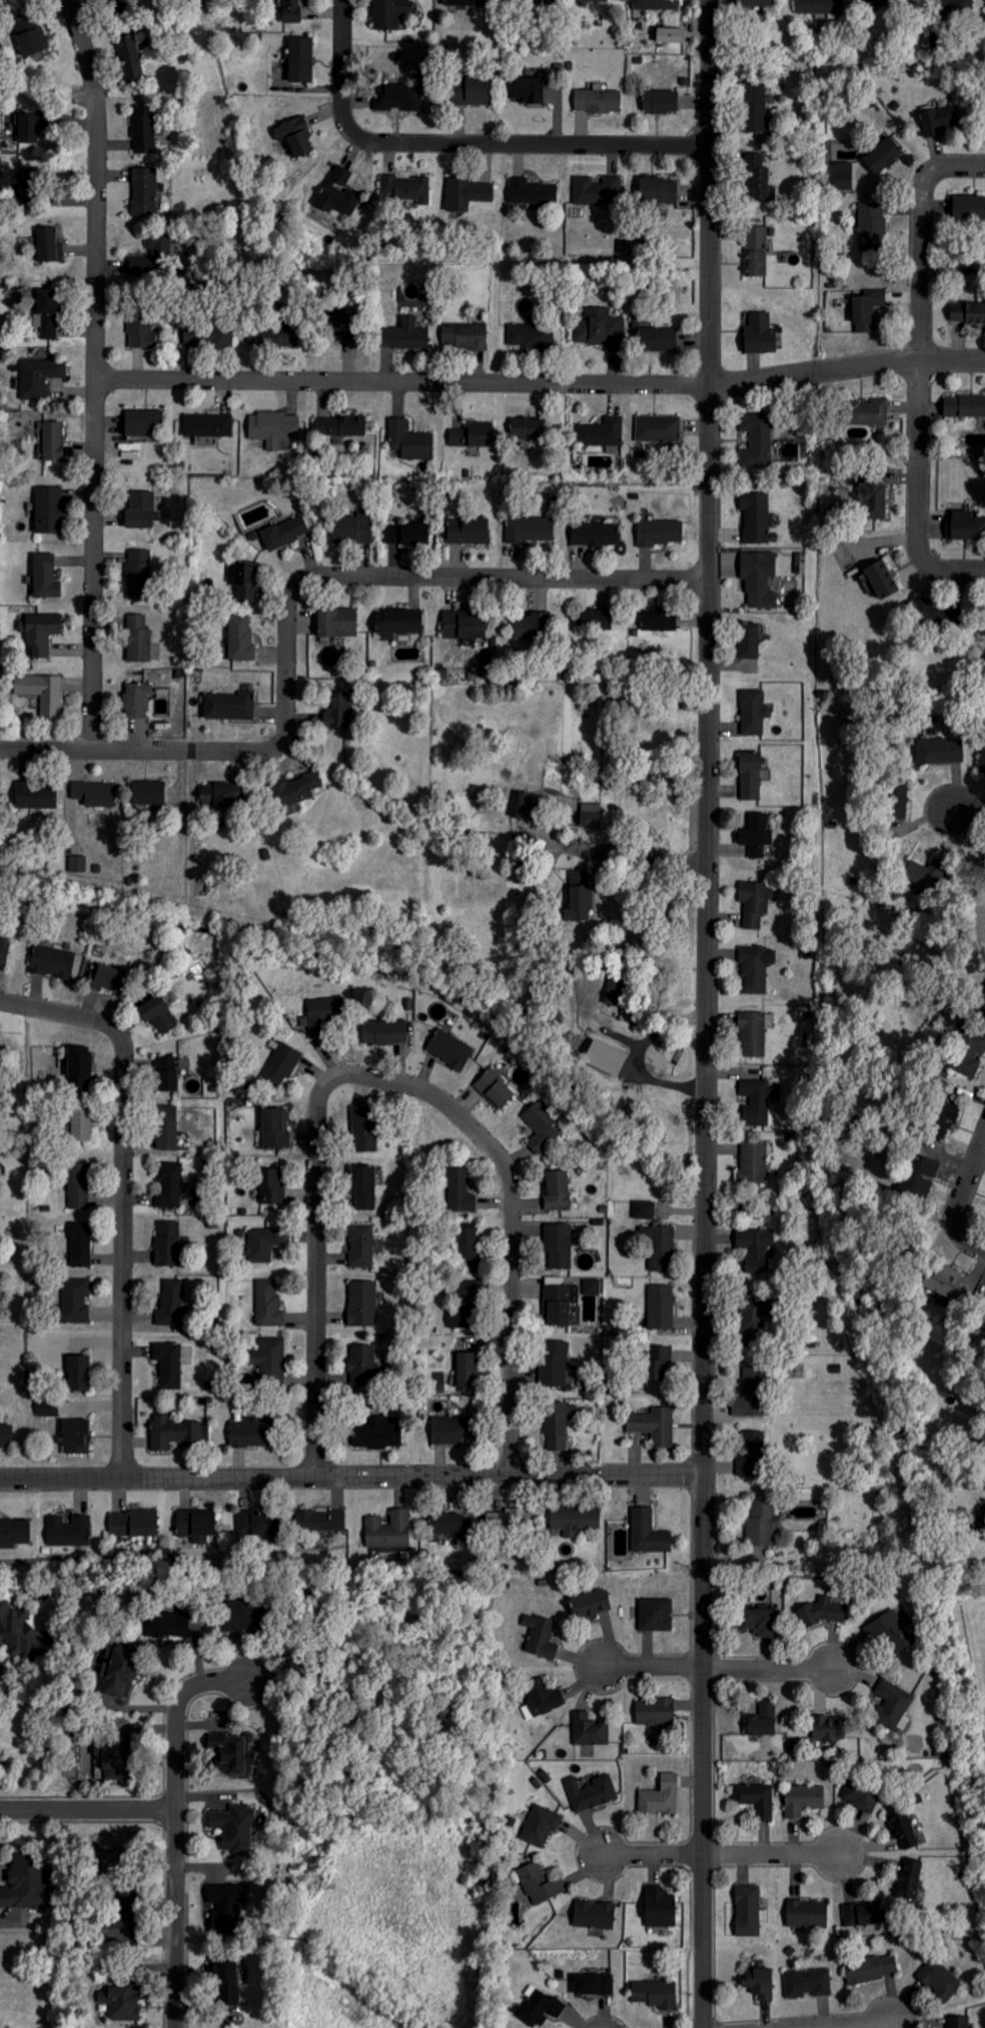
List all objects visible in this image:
building: (591, 0)
building: (870, 0)
building: (111, 1)
building: (457, 2)
building: (752, 3)
building: (656, 4)
building: (820, 7)
building: (292, 11)
building: (386, 14)
building: (31, 34)
building: (669, 34)
road: (82, 47)
building: (130, 57)
building: (301, 59)
road: (350, 70)
building: (524, 89)
building: (470, 90)
building: (397, 97)
building: (598, 100)
building: (659, 101)
building: (754, 107)
building: (939, 119)
building: (23, 127)
building: (143, 129)
building: (294, 135)
road: (530, 143)
building: (883, 153)
road: (952, 166)
building: (842, 175)
building: (756, 177)
building: (407, 188)
building: (603, 190)
building: (657, 190)
building: (531, 191)
building: (144, 192)
building: (338, 192)
building: (467, 193)
building: (968, 207)
building: (872, 224)
building: (48, 245)
building: (756, 250)
road: (921, 266)
building: (867, 309)
building: (47, 312)
building: (967, 312)
building: (335, 326)
building: (140, 331)
building: (758, 333)
building: (534, 334)
building: (219, 335)
building: (271, 335)
building: (404, 335)
building: (464, 336)
building: (656, 339)
building: (40, 376)
road: (542, 382)
building: (964, 406)
building: (865, 420)
road: (97, 422)
building: (142, 422)
building: (208, 424)
building: (339, 426)
building: (525, 427)
building: (273, 428)
building: (659, 428)
building: (602, 432)
building: (469, 436)
building: (410, 440)
building: (757, 440)
building: (52, 441)
road: (918, 455)
building: (873, 494)
building: (48, 510)
building: (139, 510)
building: (757, 517)
building: (965, 526)
building: (352, 527)
building: (530, 530)
building: (285, 532)
building: (469, 532)
building: (660, 532)
building: (407, 534)
building: (594, 534)
building: (801, 562)
building: (139, 566)
road: (947, 572)
building: (45, 576)
road: (513, 577)
building: (759, 577)
building: (880, 579)
building: (244, 581)
building: (941, 612)
building: (600, 619)
building: (659, 619)
building: (336, 622)
building: (399, 622)
building: (462, 625)
building: (529, 627)
building: (39, 632)
building: (241, 637)
building: (138, 638)
building: (748, 640)
building: (440, 673)
building: (43, 694)
building: (135, 699)
building: (229, 706)
building: (337, 711)
building: (753, 712)
building: (940, 749)
road: (233, 751)
building: (982, 760)
building: (750, 776)
building: (293, 789)
building: (93, 793)
building: (147, 793)
building: (35, 795)
building: (218, 797)
building: (896, 801)
building: (0, 805)
building: (522, 805)
road: (967, 810)
building: (756, 835)
road: (627, 848)
building: (79, 864)
building: (916, 874)
building: (579, 896)
building: (757, 901)
building: (4, 951)
building: (53, 961)
building: (756, 968)
building: (615, 991)
building: (983, 1002)
road: (57, 1011)
road: (707, 1013)
building: (157, 1014)
building: (322, 1016)
building: (384, 1032)
building: (753, 1035)
building: (449, 1049)
building: (969, 1053)
building: (281, 1064)
building: (78, 1068)
building: (167, 1074)
road: (410, 1085)
building: (494, 1088)
building: (757, 1101)
building: (939, 1120)
building: (81, 1124)
building: (541, 1127)
building: (167, 1128)
building: (275, 1128)
building: (363, 1128)
building: (755, 1162)
building: (920, 1178)
building: (171, 1185)
building: (79, 1186)
building: (363, 1187)
building: (270, 1188)
building: (461, 1191)
building: (557, 1191)
road: (961, 1202)
building: (644, 1210)
building: (80, 1244)
building: (169, 1244)
building: (264, 1245)
building: (467, 1245)
building: (559, 1245)
building: (362, 1246)
building: (662, 1249)
road: (122, 1250)
building: (756, 1250)
building: (940, 1280)
road: (317, 1283)
building: (592, 1287)
building: (76, 1300)
building: (270, 1303)
road: (510, 1303)
building: (559, 1303)
building: (173, 1304)
building: (362, 1304)
building: (661, 1308)
building: (751, 1316)
building: (984, 1318)
building: (272, 1362)
building: (656, 1362)
building: (554, 1364)
building: (170, 1365)
building: (363, 1366)
building: (467, 1370)
building: (78, 1374)
building: (751, 1394)
building: (49, 1409)
building: (559, 1425)
building: (654, 1426)
building: (446, 1431)
building: (176, 1433)
building: (377, 1433)
building: (250, 1434)
building: (5, 1436)
building: (75, 1437)
building: (750, 1455)
road: (351, 1475)
building: (324, 1520)
building: (508, 1520)
building: (574, 1520)
building: (980, 1523)
building: (195, 1524)
building: (450, 1524)
building: (763, 1524)
building: (136, 1525)
building: (246, 1527)
building: (391, 1530)
building: (69, 1531)
building: (15, 1533)
building: (648, 1533)
road: (846, 1574)
building: (590, 1605)
building: (823, 1611)
building: (655, 1614)
building: (233, 1615)
building: (759, 1621)
building: (161, 1624)
building: (892, 1629)
building: (15, 1631)
building: (541, 1635)
road: (718, 1667)
building: (545, 1696)
building: (894, 1705)
building: (655, 1711)
building: (760, 1725)
building: (825, 1728)
building: (590, 1729)
building: (236, 1753)
building: (111, 1758)
building: (591, 1792)
building: (862, 1794)
building: (660, 1795)
building: (757, 1799)
building: (804, 1799)
road: (87, 1809)
road: (174, 1824)
building: (541, 1825)
building: (902, 1827)
building: (235, 1828)
road: (721, 1854)
building: (908, 1879)
building: (24, 1882)
building: (540, 1883)
building: (115, 1907)
building: (658, 1908)
building: (224, 1909)
building: (748, 1911)
building: (861, 1913)
building: (594, 1914)
building: (807, 1914)
building: (871, 1968)
building: (224, 1979)
building: (940, 1979)
building: (808, 1982)
building: (761, 1983)
building: (593, 1984)
building: (654, 1993)
building: (122, 2003)
building: (540, 2007)
building: (957, 2021)
road: (856, 2024)

